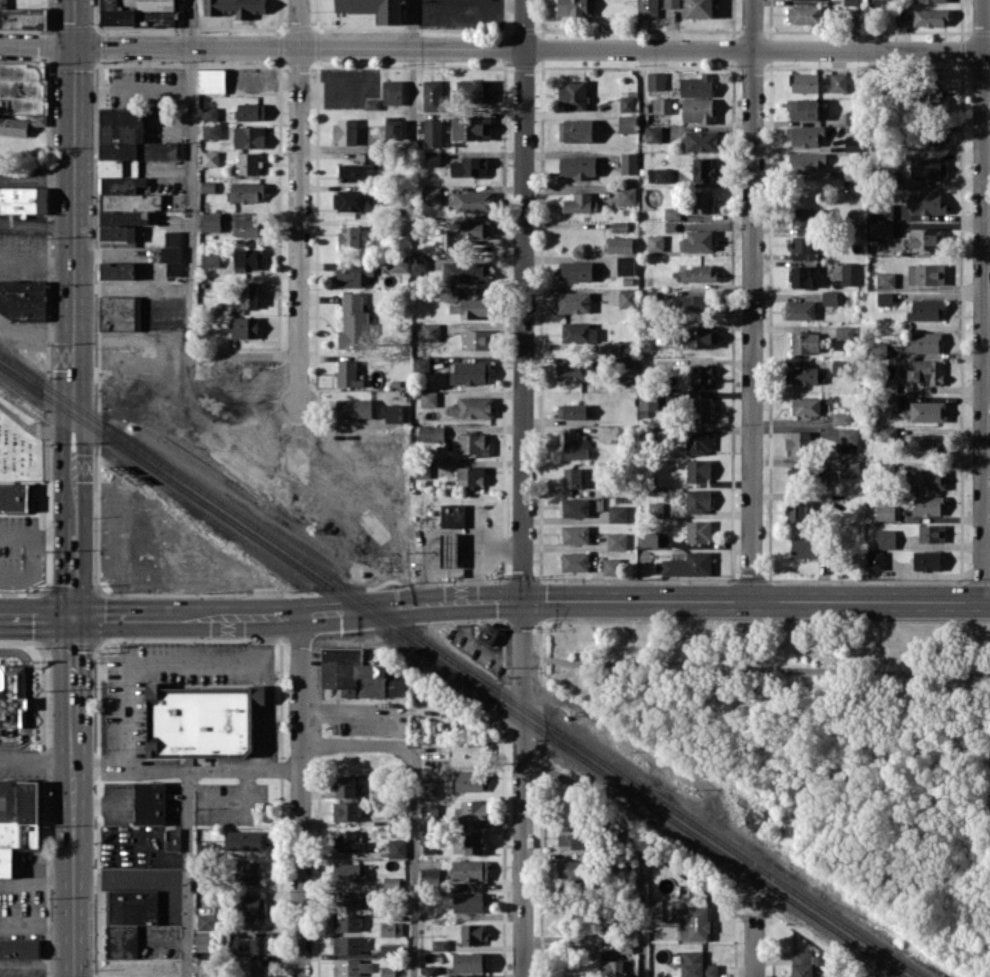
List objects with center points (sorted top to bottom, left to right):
building: (931, 1)
building: (3, 2)
building: (851, 2)
building: (234, 7)
building: (574, 7)
building: (648, 8)
building: (373, 9)
building: (700, 9)
building: (138, 12)
building: (804, 14)
building: (899, 14)
building: (930, 17)
building: (23, 18)
traffic signals: (75, 47)
road: (495, 48)
road: (413, 69)
building: (211, 80)
building: (655, 80)
building: (804, 82)
building: (838, 82)
building: (697, 85)
building: (21, 88)
building: (473, 90)
building: (392, 92)
building: (432, 95)
building: (573, 95)
building: (930, 96)
building: (372, 103)
building: (626, 103)
building: (661, 105)
building: (802, 108)
building: (697, 109)
building: (251, 111)
building: (210, 113)
building: (627, 123)
building: (13, 126)
building: (393, 128)
building: (470, 128)
building: (212, 130)
building: (575, 130)
building: (344, 131)
building: (432, 132)
building: (653, 133)
building: (805, 135)
building: (249, 137)
building: (701, 140)
building: (927, 142)
building: (370, 157)
building: (210, 158)
building: (432, 158)
building: (806, 162)
building: (248, 163)
building: (629, 163)
building: (577, 166)
building: (468, 167)
building: (928, 167)
building: (702, 168)
building: (852, 170)
building: (126, 172)
building: (355, 172)
building: (659, 175)
road: (37, 176)
building: (208, 186)
building: (245, 192)
building: (430, 195)
building: (626, 195)
building: (24, 200)
building: (348, 200)
building: (472, 201)
building: (702, 201)
road: (299, 202)
building: (578, 203)
building: (926, 203)
building: (672, 212)
building: (804, 217)
road: (37, 219)
building: (212, 221)
building: (246, 226)
building: (619, 226)
road: (193, 228)
building: (880, 229)
building: (349, 236)
building: (173, 237)
building: (925, 238)
building: (697, 240)
building: (655, 242)
building: (620, 244)
building: (806, 246)
road: (74, 255)
road: (37, 258)
building: (246, 258)
building: (171, 259)
building: (210, 259)
building: (398, 263)
building: (420, 264)
building: (625, 265)
building: (117, 270)
building: (577, 270)
building: (465, 272)
building: (700, 273)
building: (850, 273)
building: (926, 274)
building: (801, 276)
building: (349, 278)
building: (885, 279)
building: (449, 294)
building: (248, 296)
building: (829, 297)
building: (627, 298)
building: (884, 298)
road: (522, 299)
road: (752, 299)
building: (23, 300)
road: (983, 300)
building: (573, 302)
building: (697, 303)
building: (475, 307)
building: (799, 309)
building: (926, 309)
building: (119, 312)
building: (353, 322)
building: (244, 327)
building: (430, 331)
building: (579, 332)
building: (843, 335)
building: (700, 337)
building: (476, 339)
building: (804, 342)
building: (924, 342)
building: (627, 348)
building: (880, 348)
building: (421, 364)
building: (839, 367)
building: (574, 370)
building: (925, 370)
building: (471, 373)
building: (348, 374)
building: (804, 375)
building: (701, 376)
building: (428, 398)
building: (647, 402)
building: (806, 406)
building: (472, 407)
building: (356, 409)
building: (701, 409)
building: (574, 410)
building: (927, 411)
building: (394, 413)
building: (841, 418)
building: (431, 433)
building: (888, 433)
building: (848, 440)
building: (698, 441)
park: (20, 443)
building: (799, 443)
building: (927, 443)
building: (473, 444)
building: (574, 445)
building: (849, 468)
building: (698, 470)
building: (797, 473)
building: (470, 475)
building: (572, 477)
building: (927, 478)
building: (14, 496)
building: (698, 500)
building: (927, 505)
building: (575, 507)
building: (655, 508)
building: (795, 510)
building: (885, 512)
building: (617, 513)
building: (453, 515)
building: (698, 531)
building: (931, 533)
road: (17, 534)
road: (53, 534)
building: (575, 534)
building: (885, 538)
building: (649, 539)
building: (617, 541)
road: (486, 548)
building: (806, 548)
building: (449, 550)
building: (875, 559)
building: (927, 560)
building: (575, 561)
road: (73, 564)
building: (689, 564)
building: (611, 565)
road: (32, 567)
road: (447, 574)
traffic signals: (522, 599)
road: (494, 600)
traffic signals: (73, 617)
building: (489, 633)
road: (158, 657)
road: (73, 658)
railway: (459, 665)
railway: (450, 671)
building: (358, 674)
building: (12, 695)
building: (201, 720)
park: (805, 742)
building: (466, 754)
road: (36, 756)
road: (186, 771)
building: (469, 780)
building: (345, 786)
building: (428, 787)
road: (522, 788)
road: (300, 796)
building: (150, 803)
road: (412, 807)
building: (347, 810)
building: (471, 812)
building: (429, 815)
building: (17, 820)
road: (72, 838)
building: (571, 838)
building: (173, 839)
building: (245, 839)
road: (633, 839)
building: (347, 841)
building: (429, 842)
building: (473, 843)
building: (397, 847)
building: (570, 869)
building: (470, 870)
building: (348, 871)
building: (250, 873)
road: (187, 874)
building: (429, 875)
road: (36, 881)
road: (336, 882)
building: (391, 882)
building: (348, 899)
building: (467, 902)
building: (251, 907)
building: (678, 913)
building: (128, 919)
building: (206, 921)
building: (347, 922)
building: (695, 924)
building: (391, 928)
road: (36, 930)
building: (472, 933)
building: (204, 941)
building: (246, 944)
building: (349, 944)
building: (440, 944)
road: (753, 946)
building: (19, 948)
building: (387, 951)
building: (469, 962)
road: (36, 963)
building: (801, 963)
building: (696, 965)
building: (205, 967)
building: (352, 967)
road: (143, 968)
building: (254, 968)
building: (612, 968)

